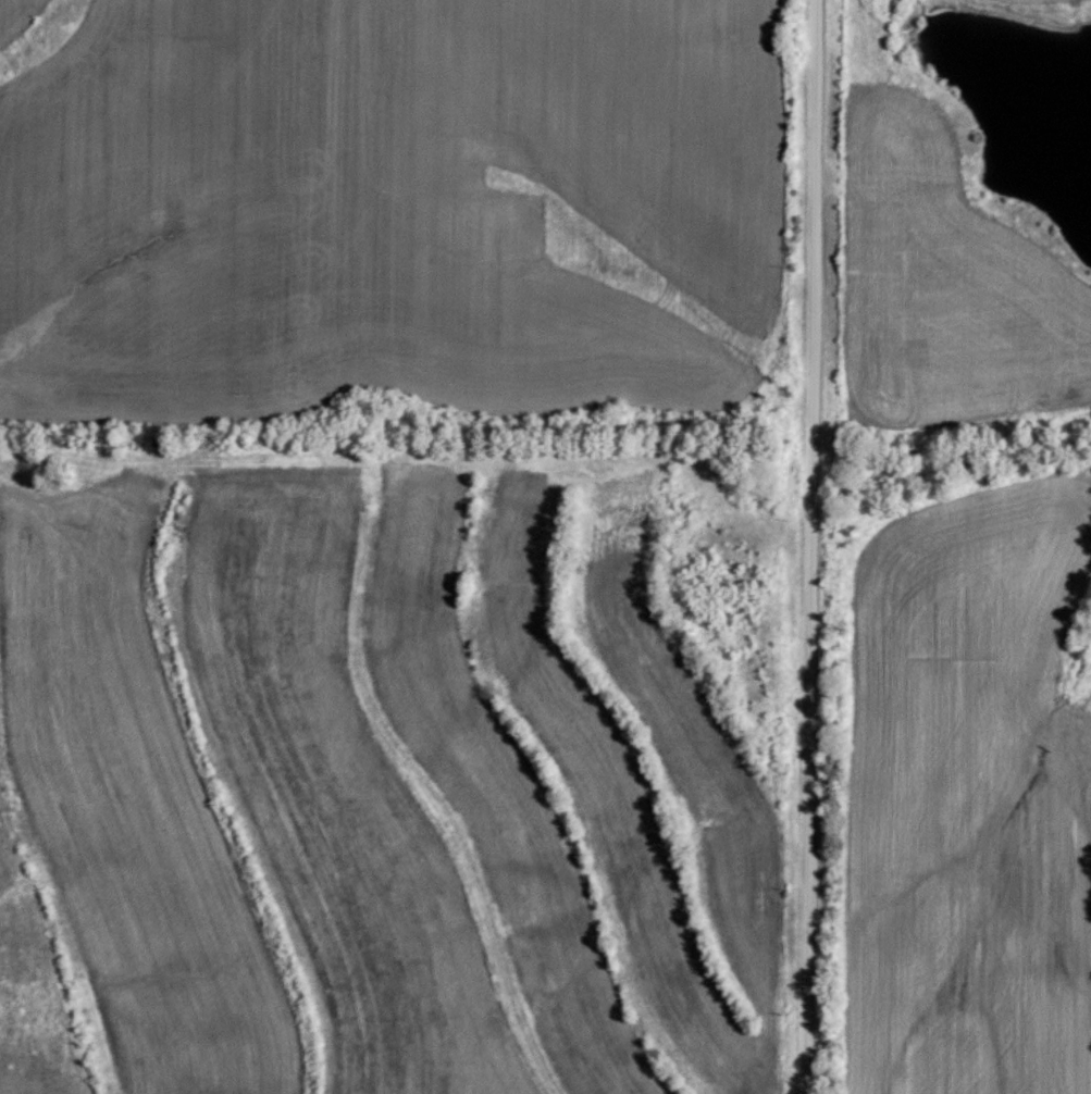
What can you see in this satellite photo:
road: (813, 547)

